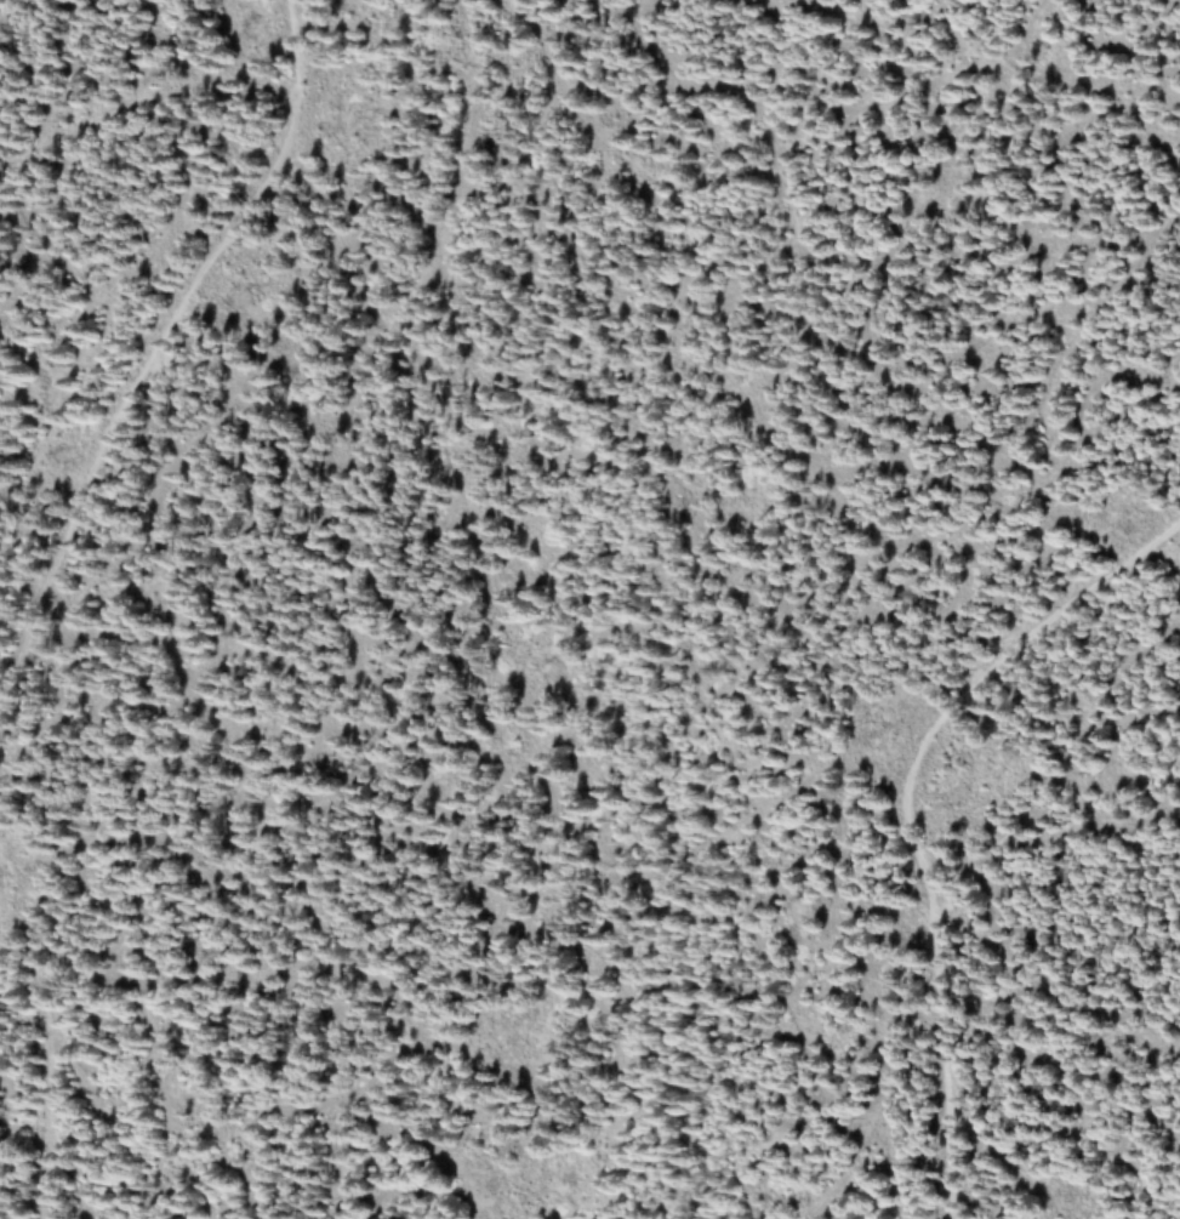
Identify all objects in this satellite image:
road: (155, 346)
road: (905, 811)

